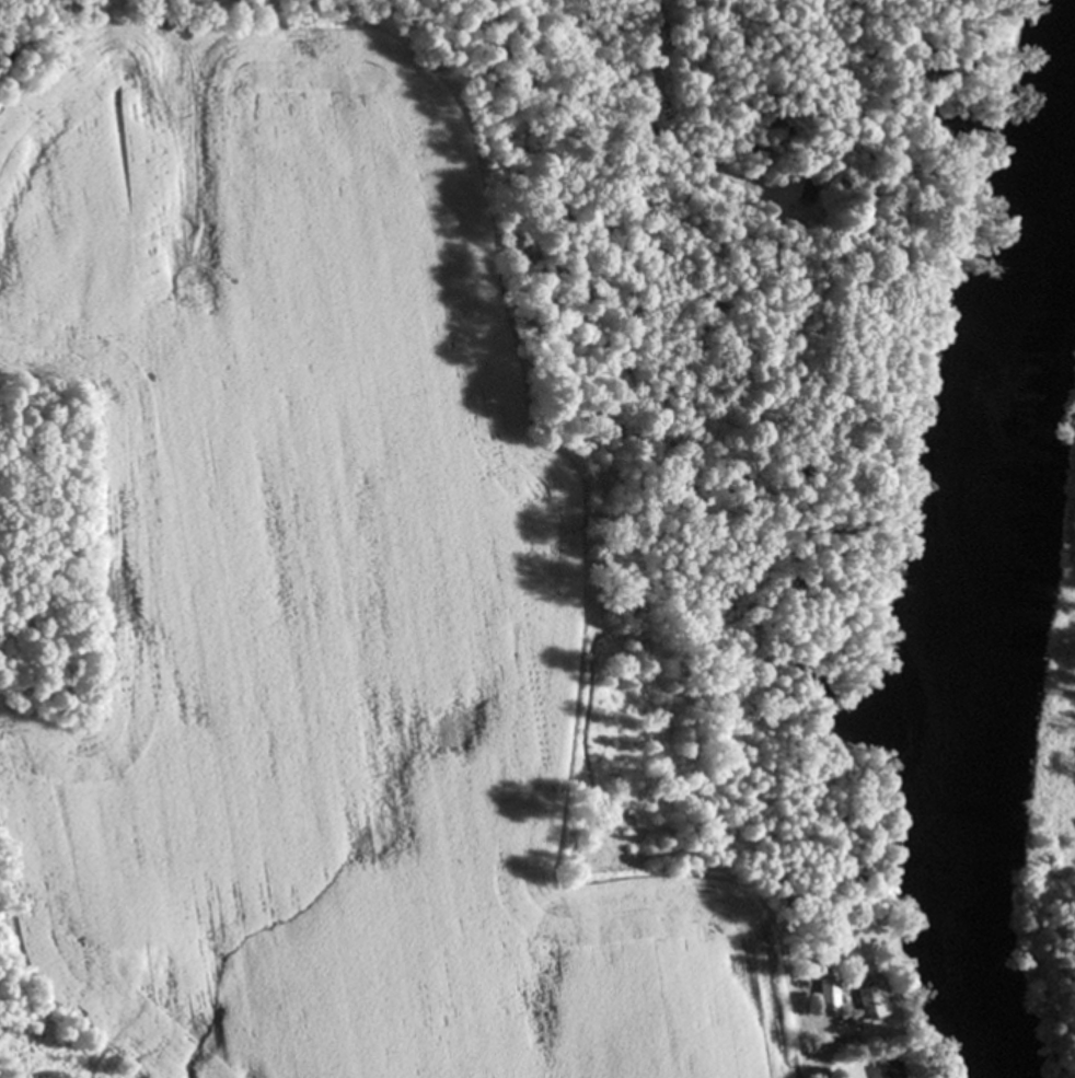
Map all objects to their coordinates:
road: (651, 130)
river: (951, 617)
building: (825, 998)
building: (870, 1002)
road: (822, 1064)
building: (886, 1071)

